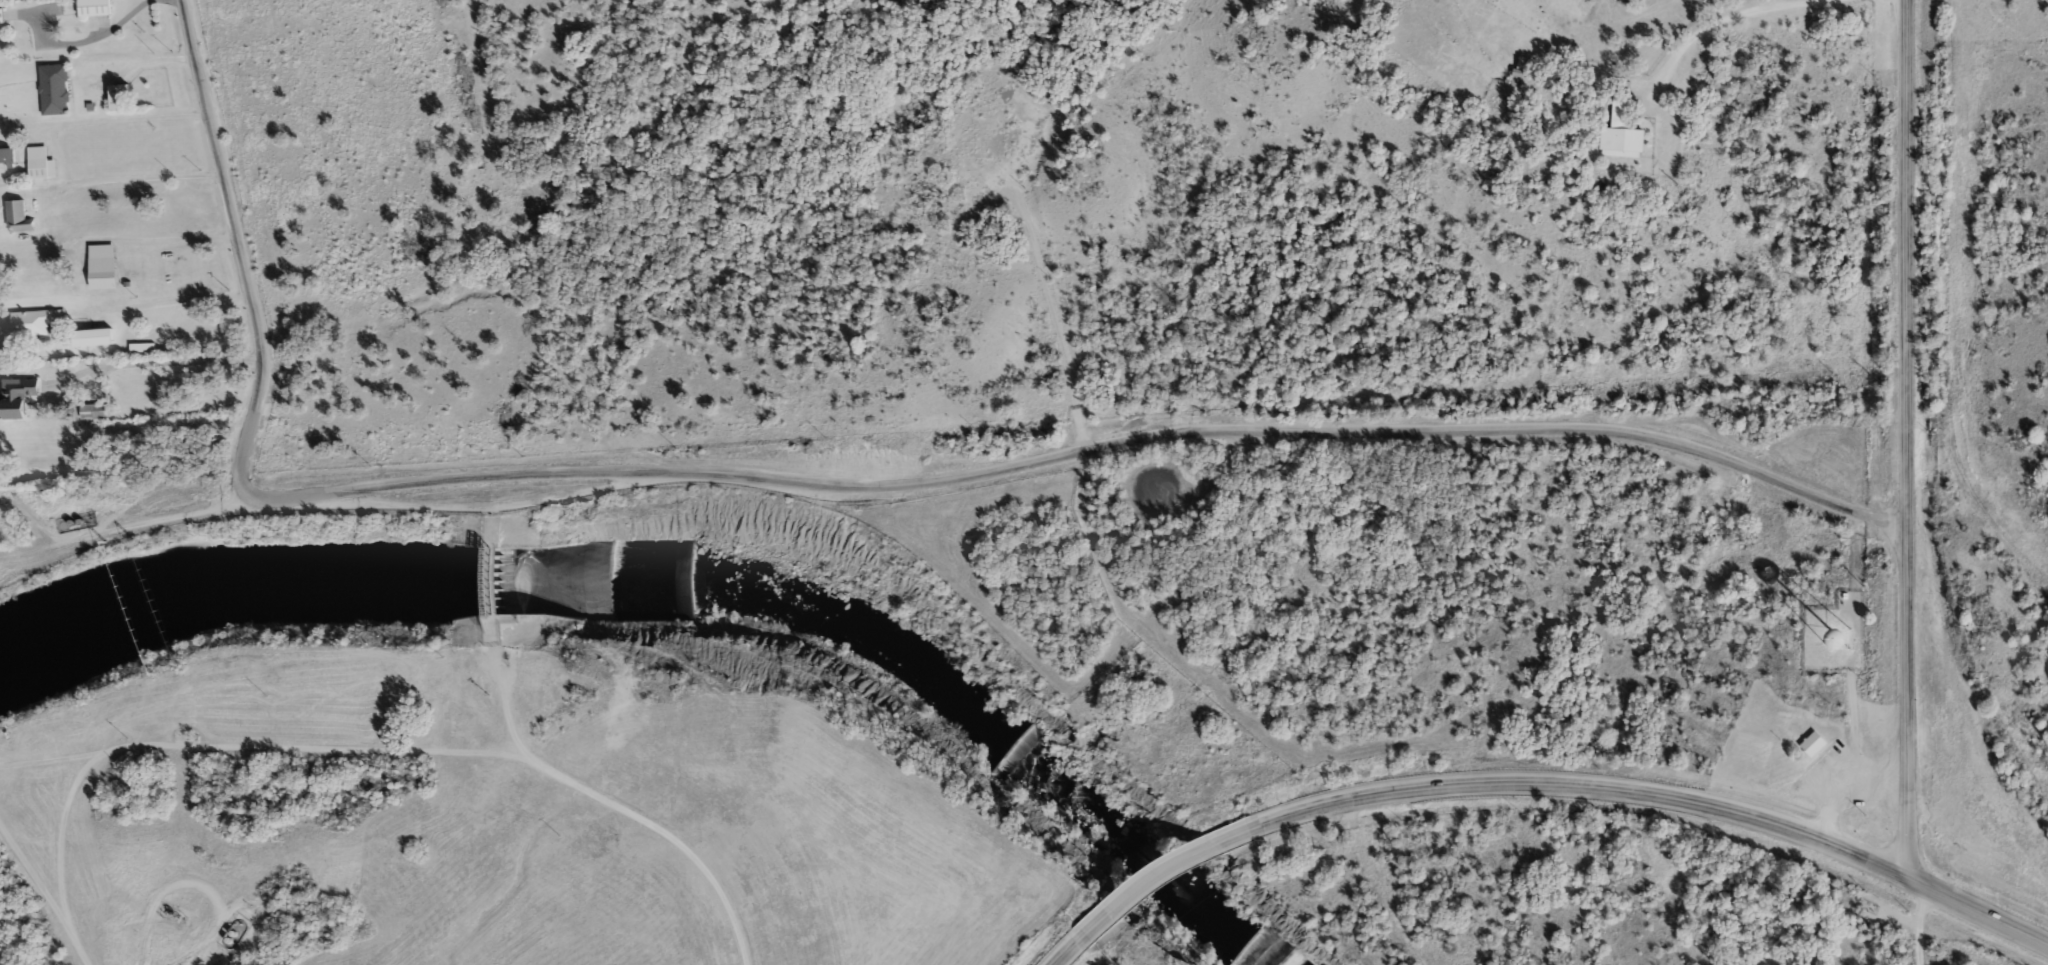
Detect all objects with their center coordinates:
road: (1773, 3)
building: (95, 8)
building: (3, 14)
road: (1721, 17)
road: (89, 37)
building: (1518, 67)
building: (53, 89)
building: (120, 97)
building: (1619, 111)
road: (114, 121)
building: (1620, 139)
building: (7, 156)
building: (39, 163)
building: (18, 216)
road: (166, 240)
road: (236, 253)
building: (102, 274)
building: (34, 321)
building: (94, 337)
building: (141, 349)
road: (157, 364)
building: (18, 396)
building: (93, 410)
road: (1903, 440)
road: (1086, 448)
road: (32, 520)
road: (161, 520)
road: (31, 550)
building: (497, 601)
road: (502, 703)
building: (1812, 743)
road: (421, 756)
road: (1662, 796)
road: (63, 852)
road: (1163, 874)
road: (31, 878)
road: (1372, 885)
road: (1915, 921)
road: (1067, 949)

